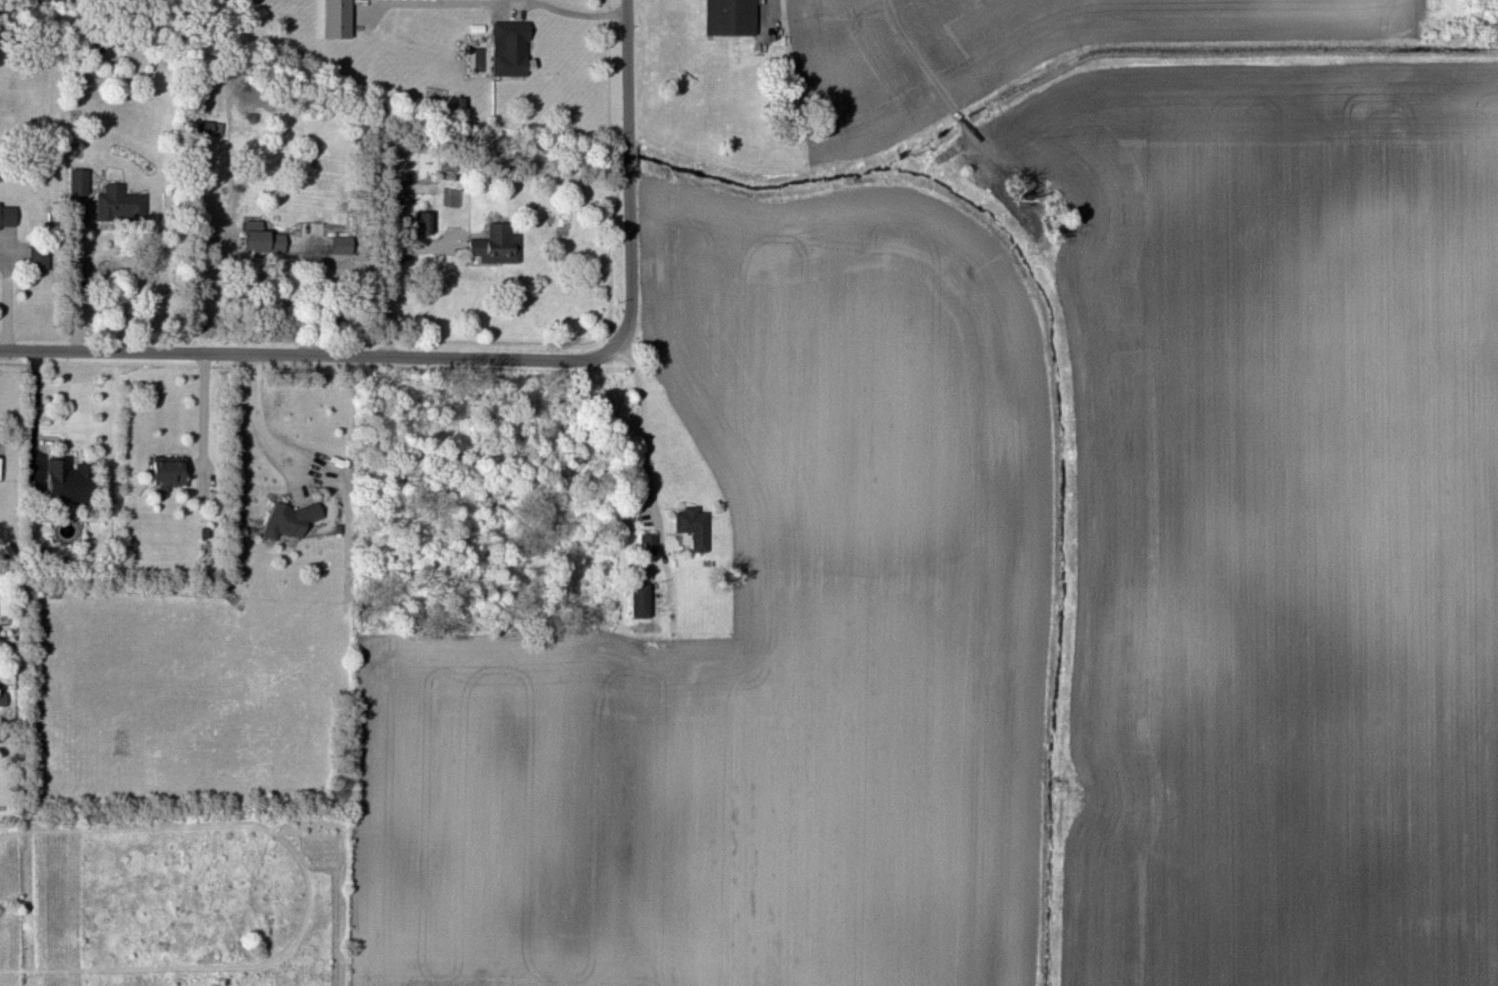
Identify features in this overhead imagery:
road: (499, 1)
building: (729, 17)
building: (336, 19)
building: (508, 48)
building: (210, 127)
building: (78, 181)
building: (118, 204)
road: (629, 206)
building: (7, 217)
building: (426, 223)
building: (260, 238)
building: (341, 244)
building: (496, 245)
road: (76, 277)
road: (386, 277)
road: (279, 356)
road: (38, 405)
road: (202, 408)
road: (255, 427)
building: (167, 470)
road: (644, 472)
building: (62, 482)
building: (288, 521)
building: (689, 523)
building: (639, 601)

